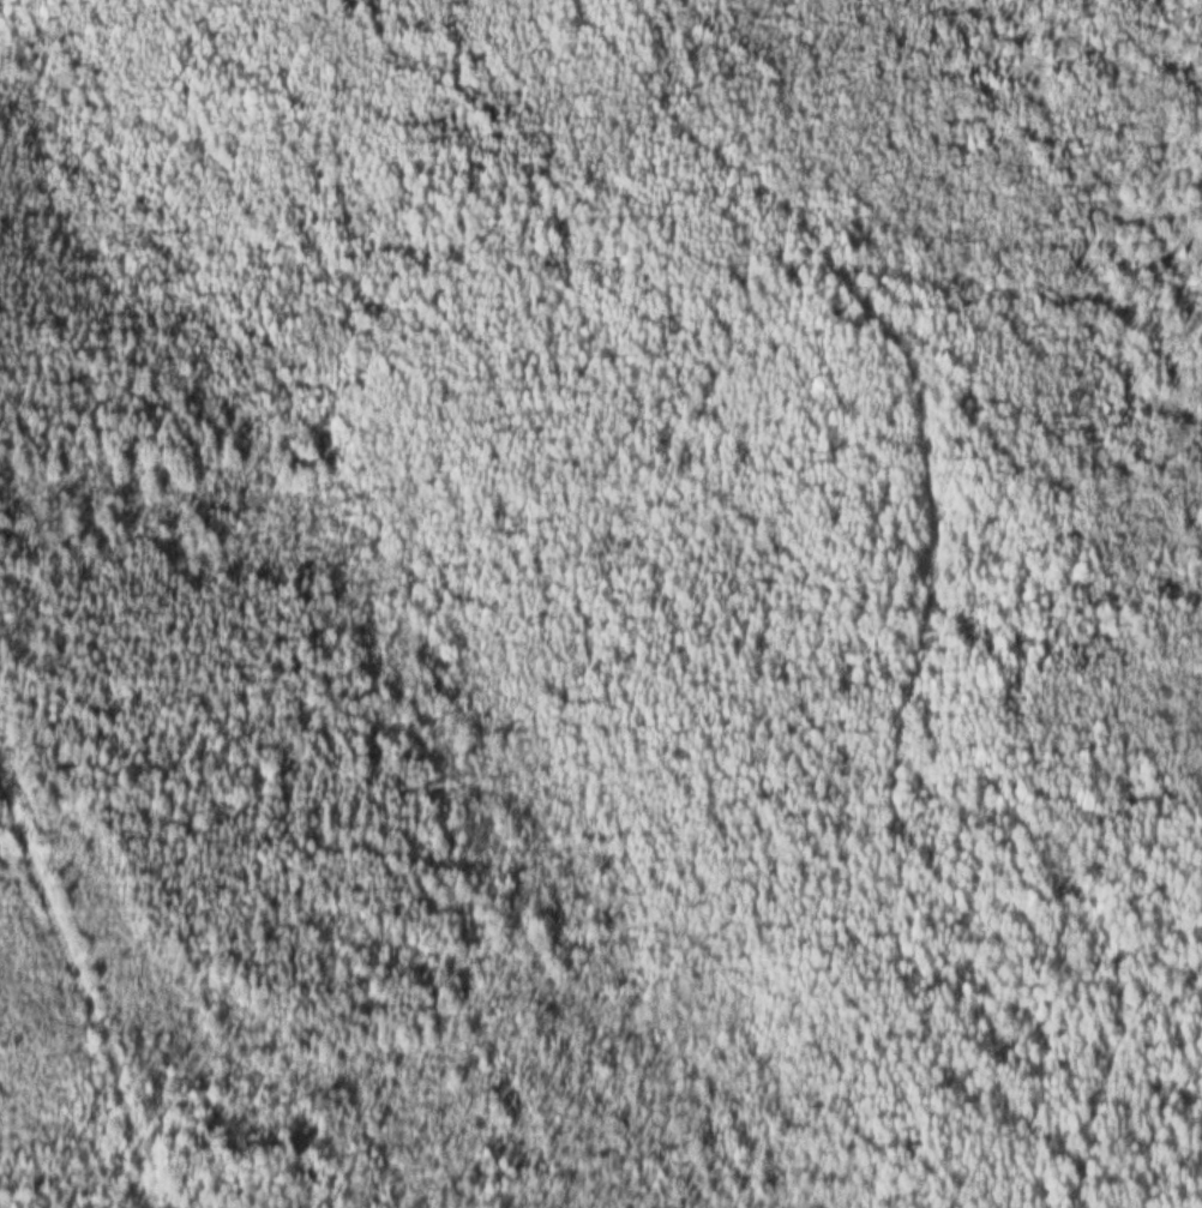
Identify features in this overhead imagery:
road: (86, 991)

